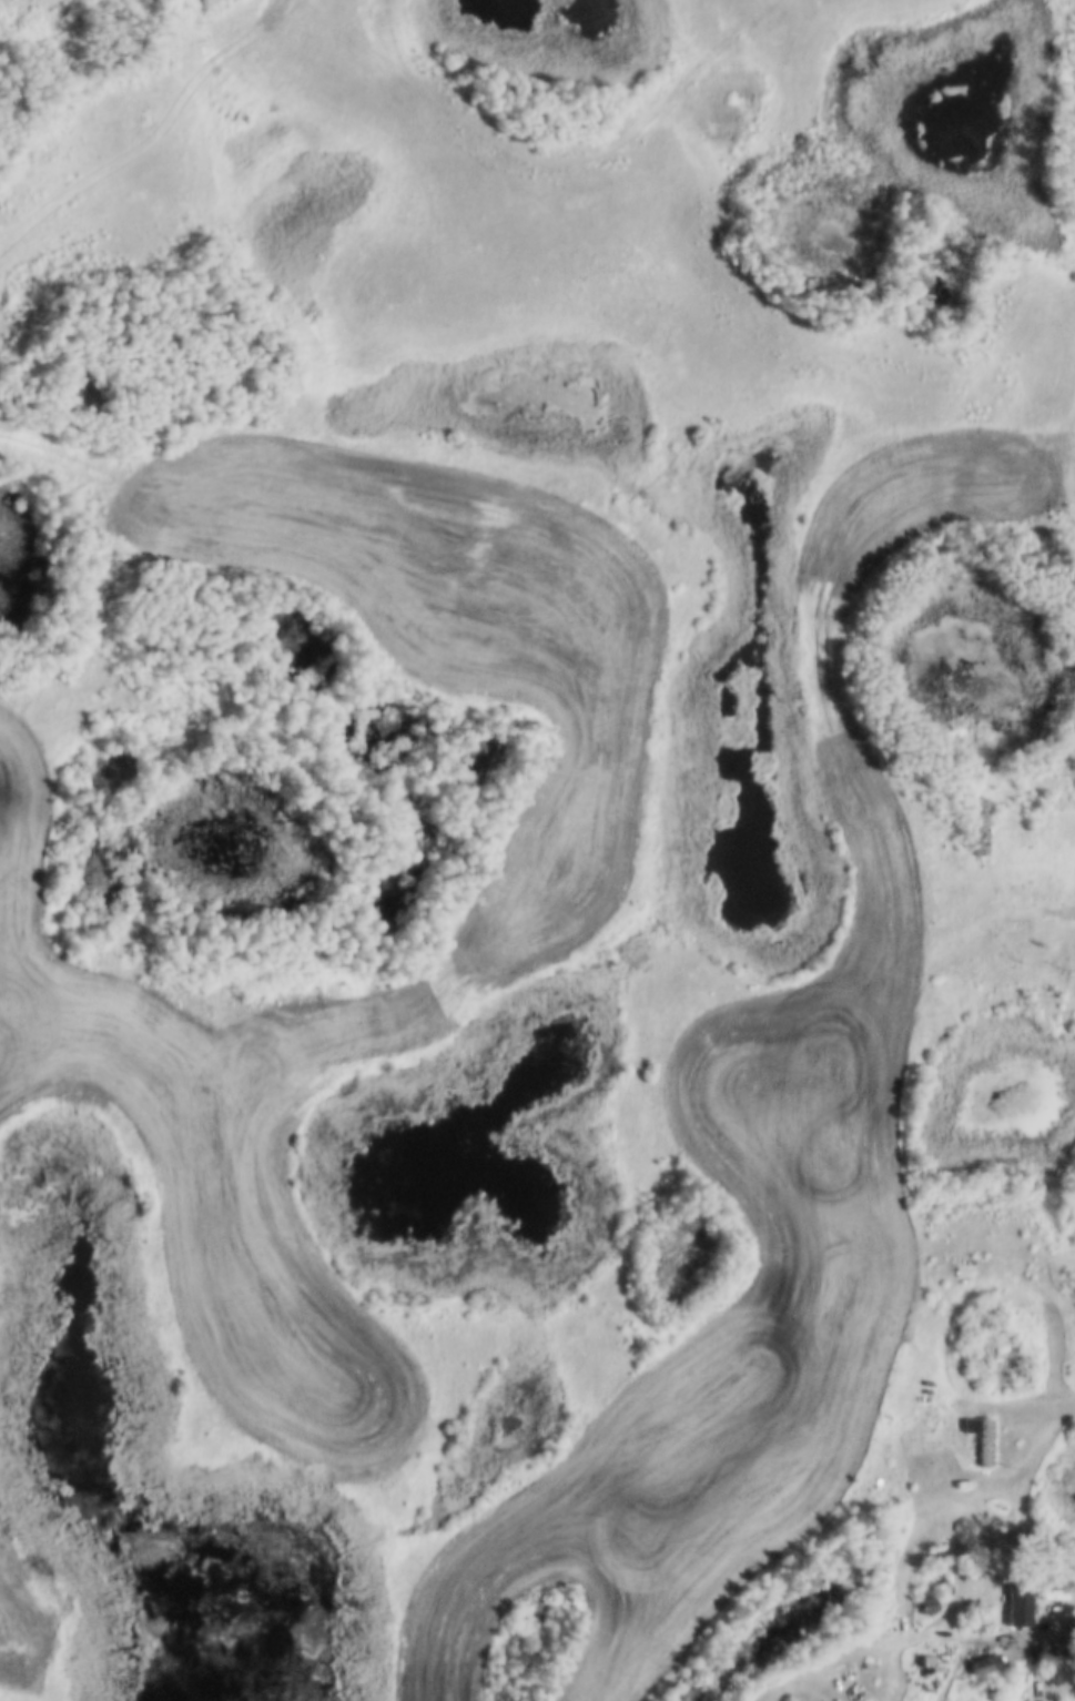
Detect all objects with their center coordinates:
building: (980, 823)
road: (1038, 862)
building: (1015, 941)
building: (944, 1451)
building: (942, 1583)
building: (926, 1601)
building: (1016, 1604)
building: (924, 1607)
building: (924, 1658)
building: (983, 1661)

